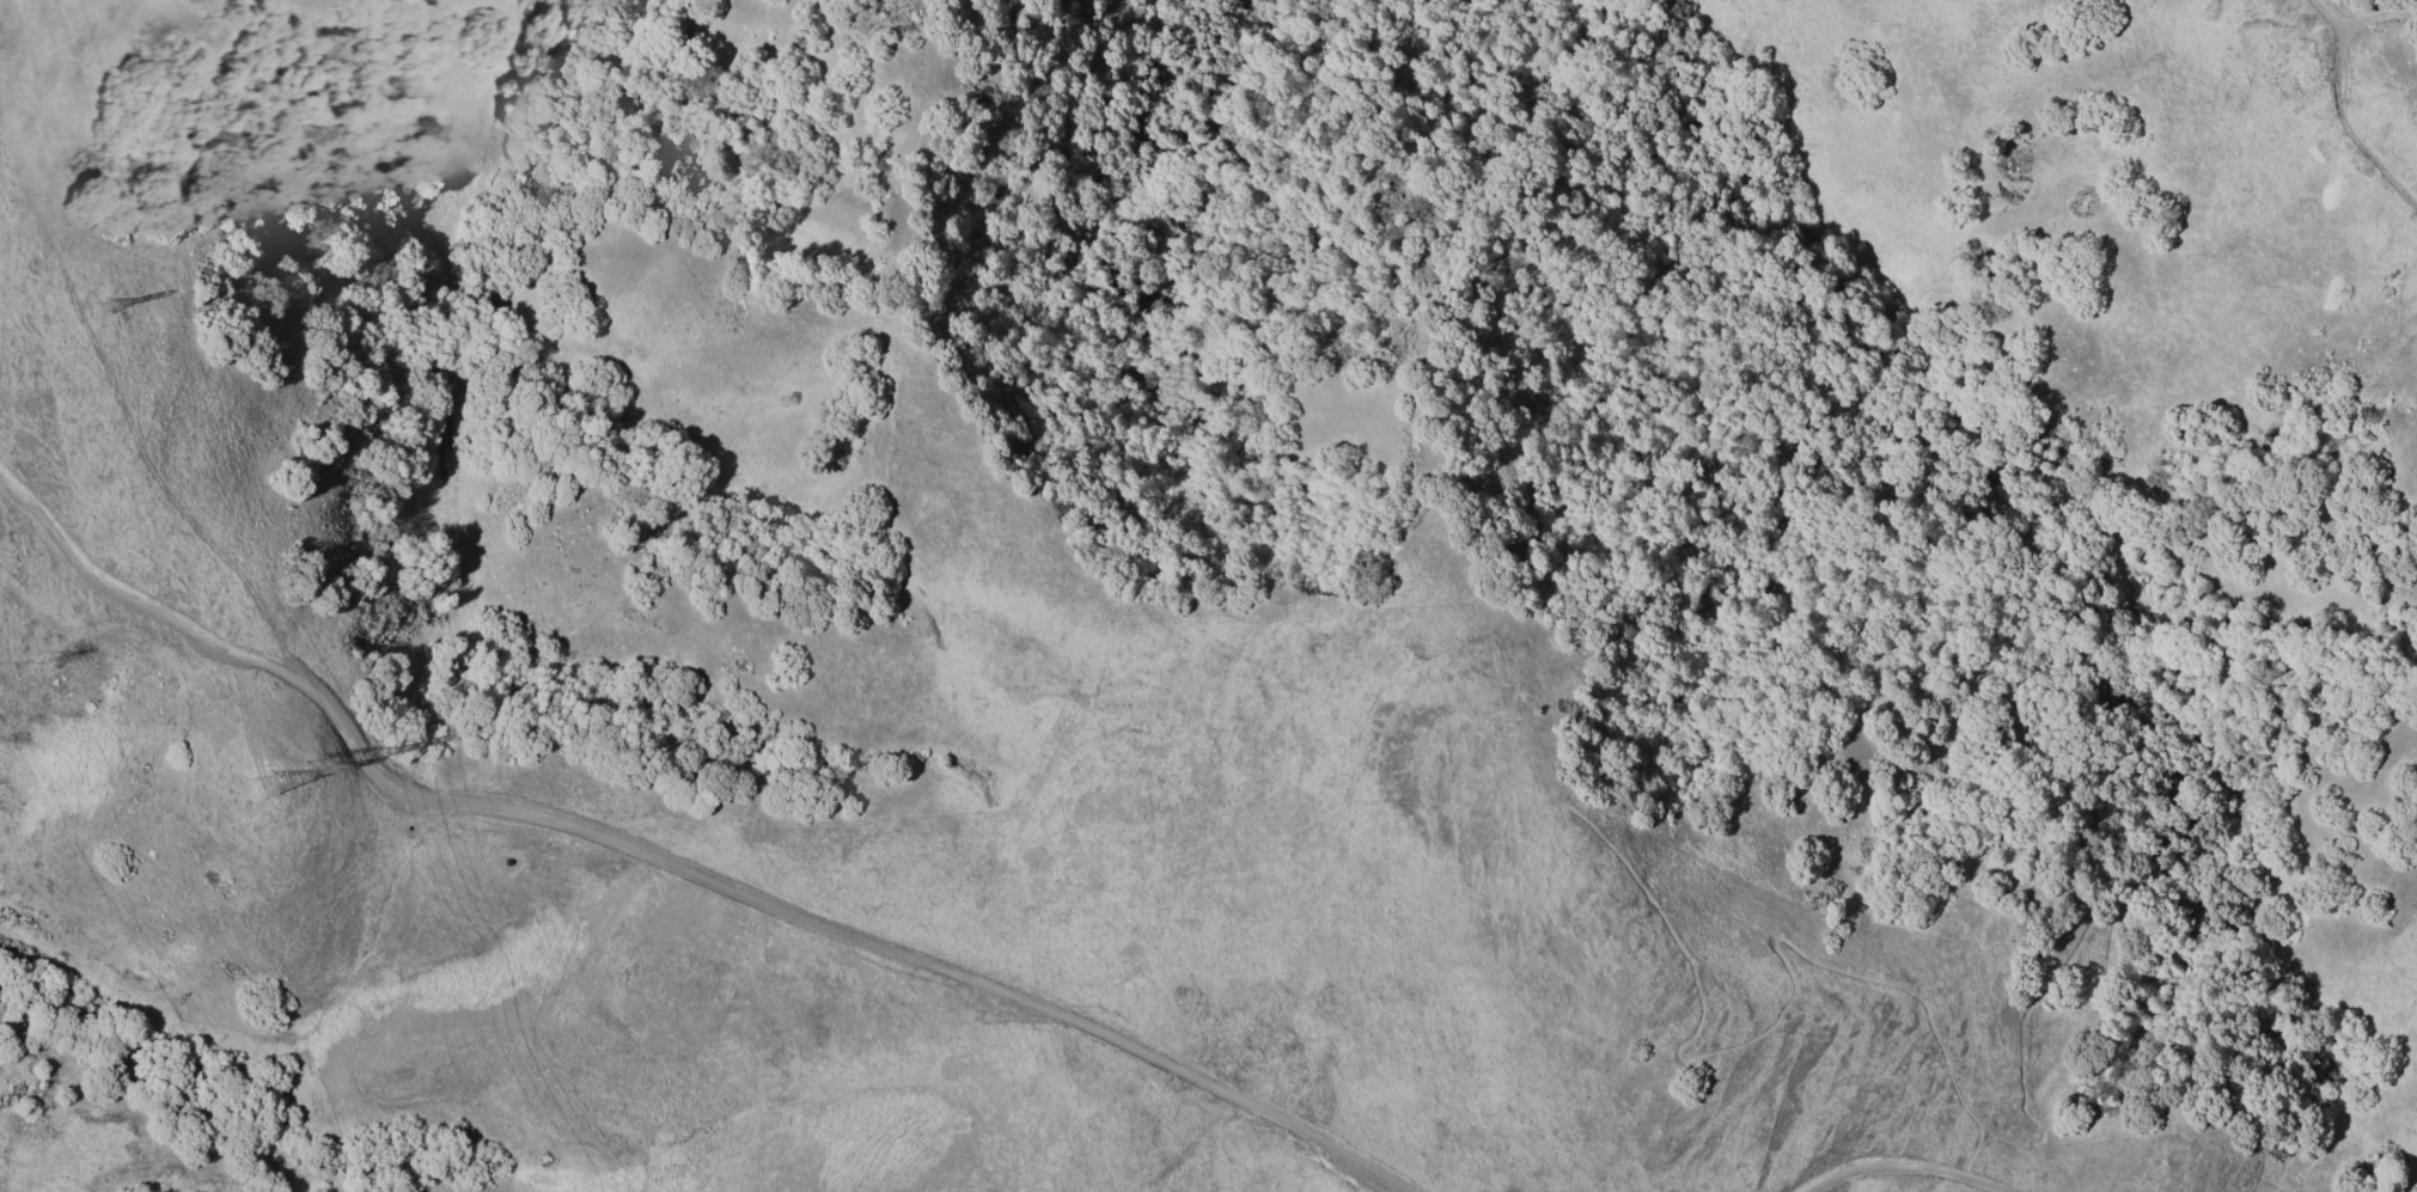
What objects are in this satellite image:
road: (2319, 18)
road: (2333, 93)
power tower: (104, 314)
power tower: (43, 661)
road: (2168, 735)
power tower: (315, 768)
power tower: (260, 787)
road: (670, 868)
road: (1753, 1035)
road: (415, 1094)
road: (1897, 1165)

